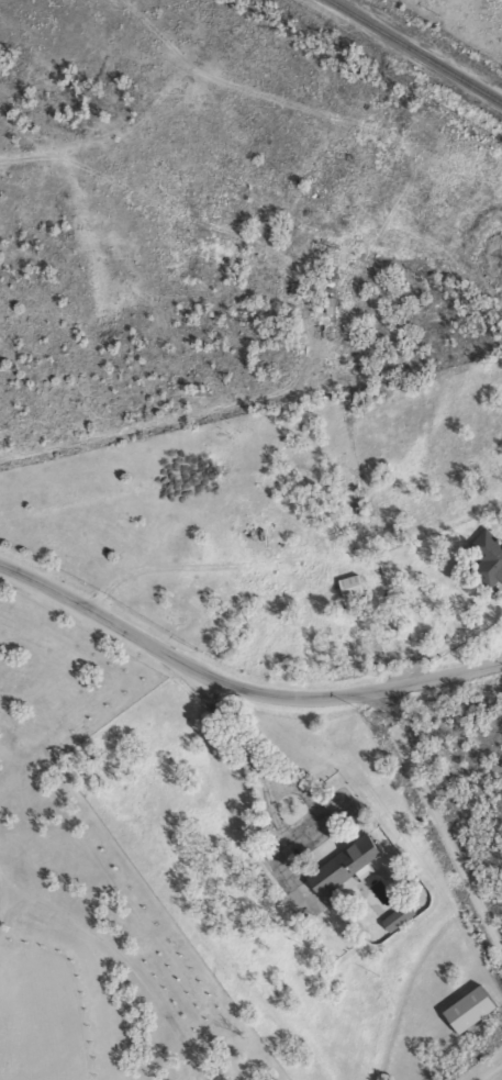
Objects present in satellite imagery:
railway: (413, 52)
building: (488, 557)
building: (348, 587)
road: (237, 687)
road: (438, 820)
building: (350, 865)
building: (402, 916)
building: (475, 1009)
road: (487, 1069)

